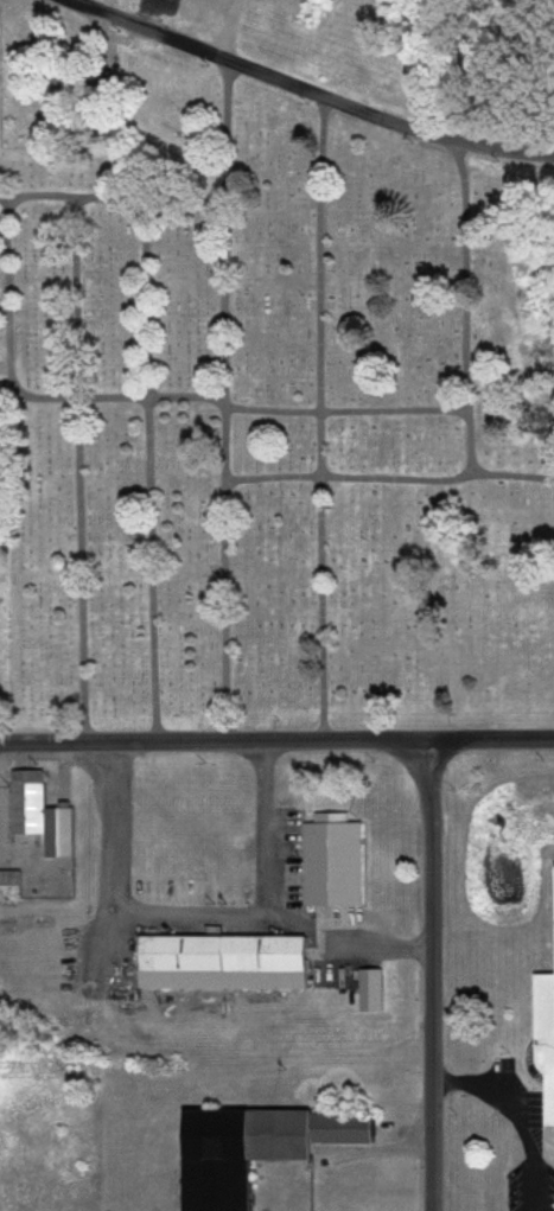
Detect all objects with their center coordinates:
road: (307, 90)
road: (113, 196)
road: (464, 306)
road: (4, 344)
road: (142, 397)
road: (223, 400)
road: (319, 418)
park: (265, 438)
road: (78, 469)
road: (147, 469)
road: (389, 478)
road: (276, 741)
building: (34, 815)
building: (329, 862)
building: (7, 887)
road: (206, 917)
road: (352, 939)
building: (215, 956)
road: (433, 974)
building: (368, 992)
building: (546, 1034)
road: (520, 1115)
building: (249, 1149)

